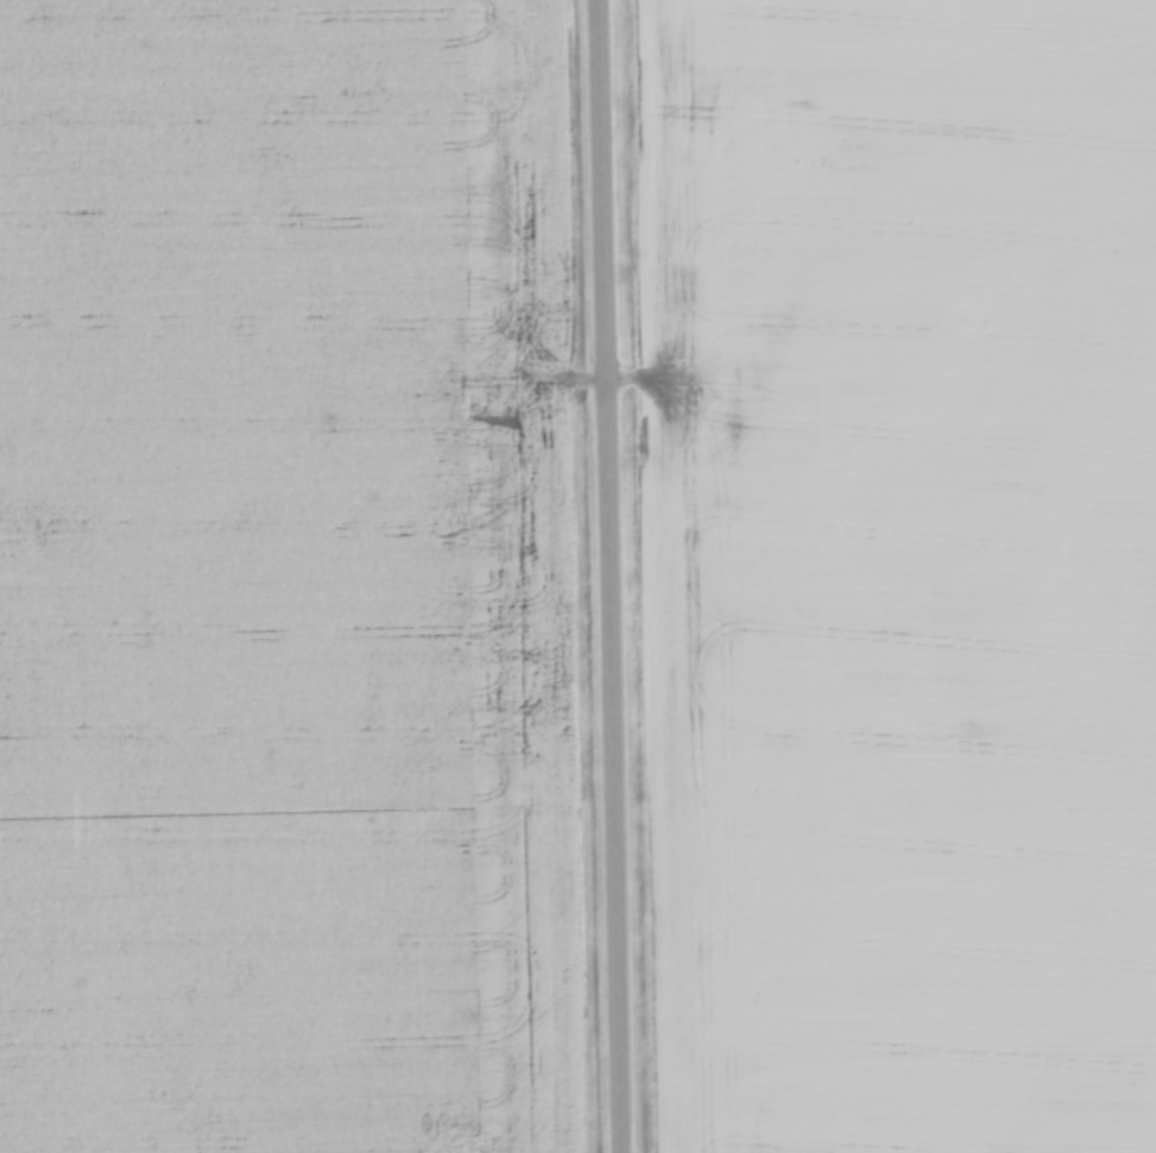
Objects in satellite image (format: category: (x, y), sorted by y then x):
road: (606, 576)

